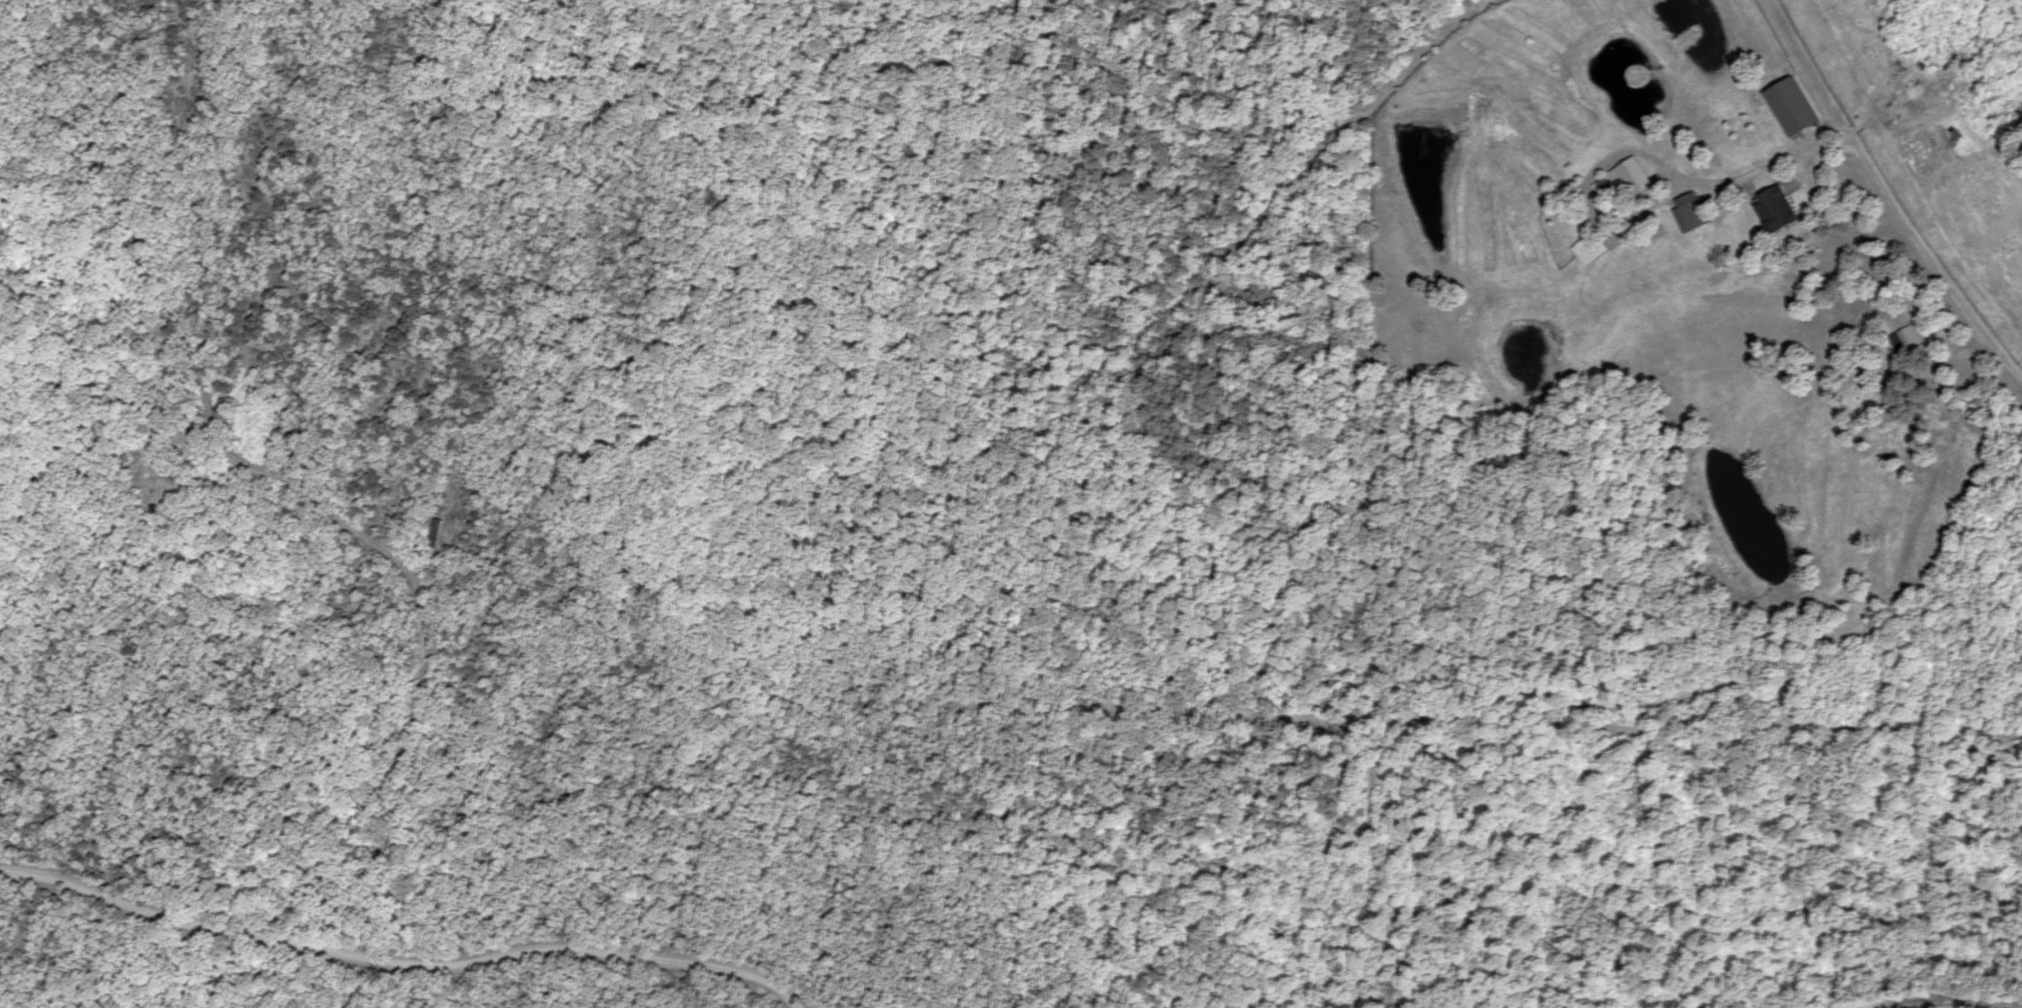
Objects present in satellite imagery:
road: (1755, 43)
road: (1568, 67)
building: (1793, 107)
road: (1902, 201)
building: (1777, 209)
building: (1691, 212)
building: (1591, 248)
building: (1906, 342)
building: (1891, 396)
building: (435, 534)

